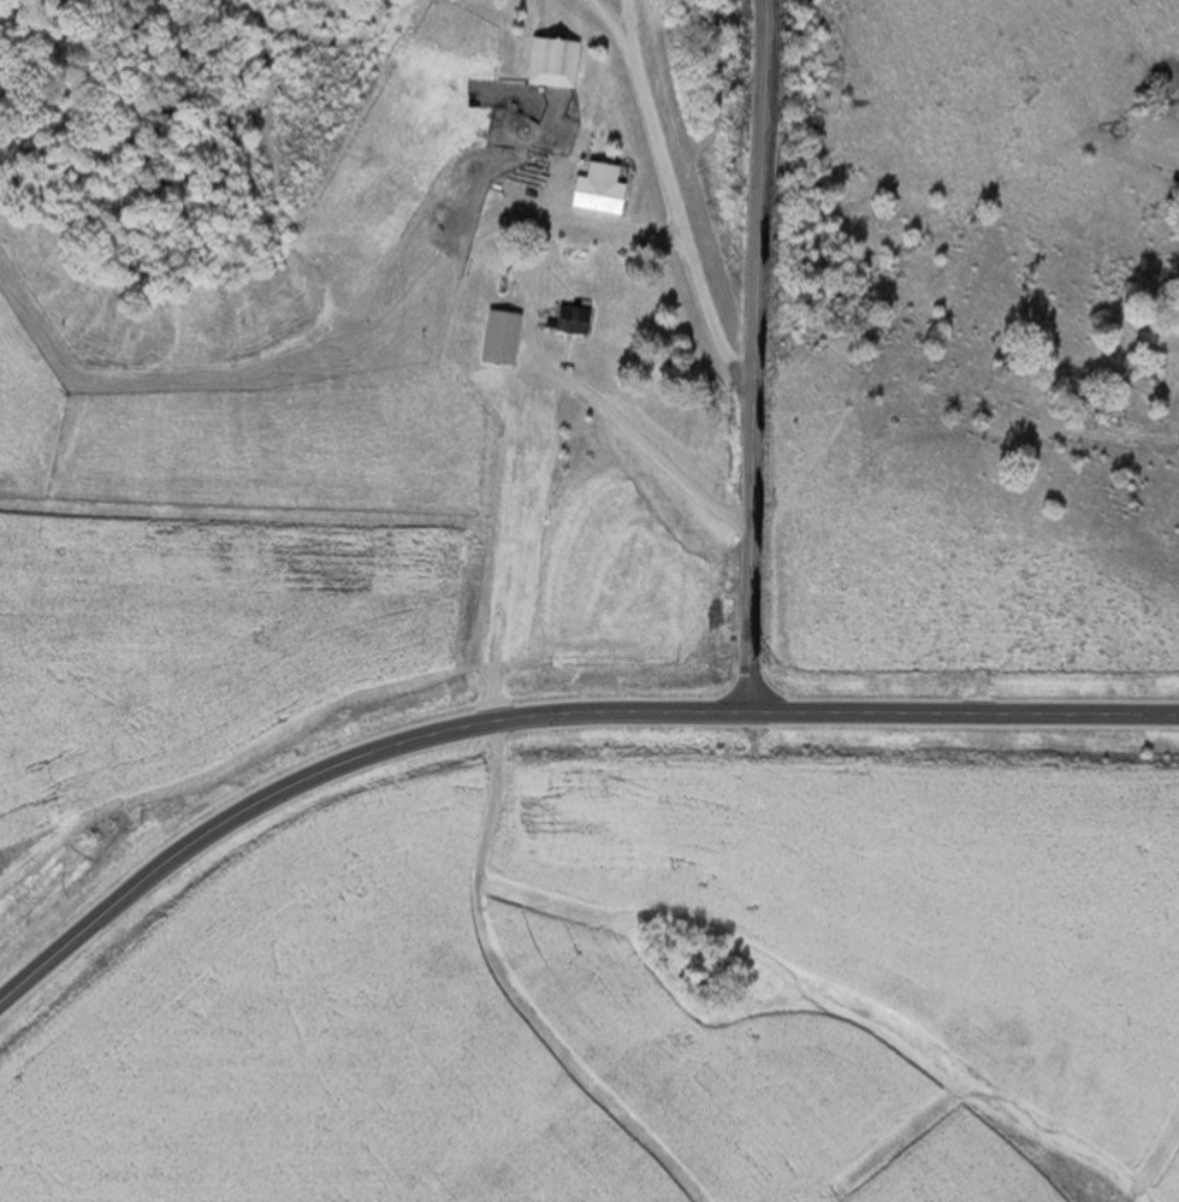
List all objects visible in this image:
building: (550, 64)
building: (596, 195)
road: (681, 207)
building: (568, 320)
building: (497, 338)
road: (750, 355)
road: (522, 390)
road: (551, 712)

